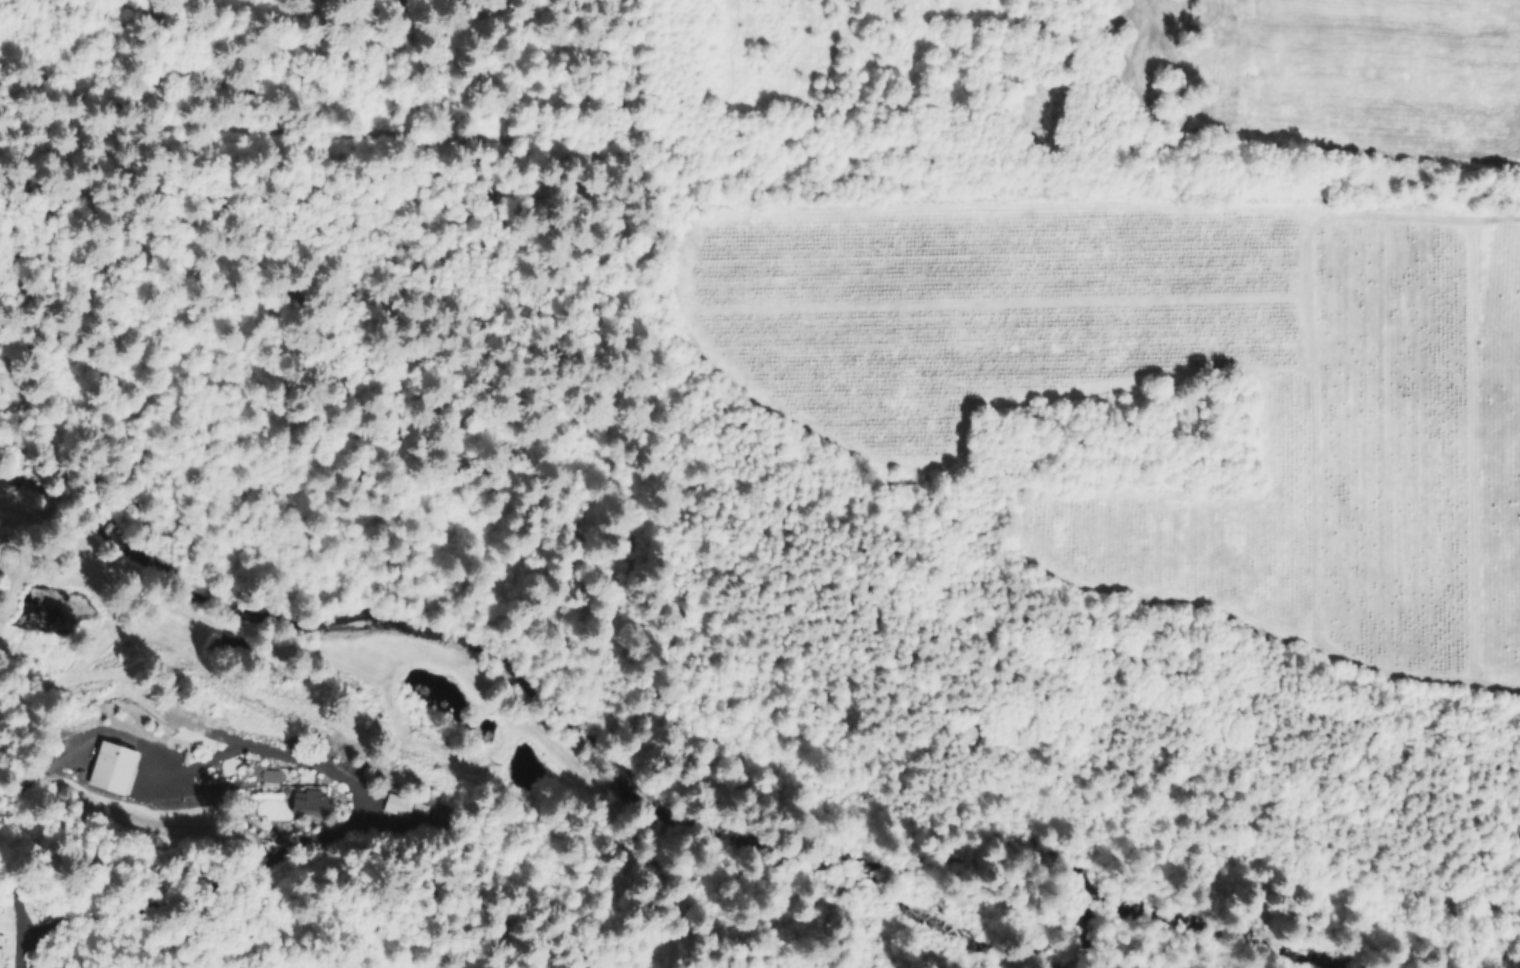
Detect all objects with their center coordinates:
road: (116, 736)
building: (109, 770)
building: (308, 804)
building: (400, 808)

